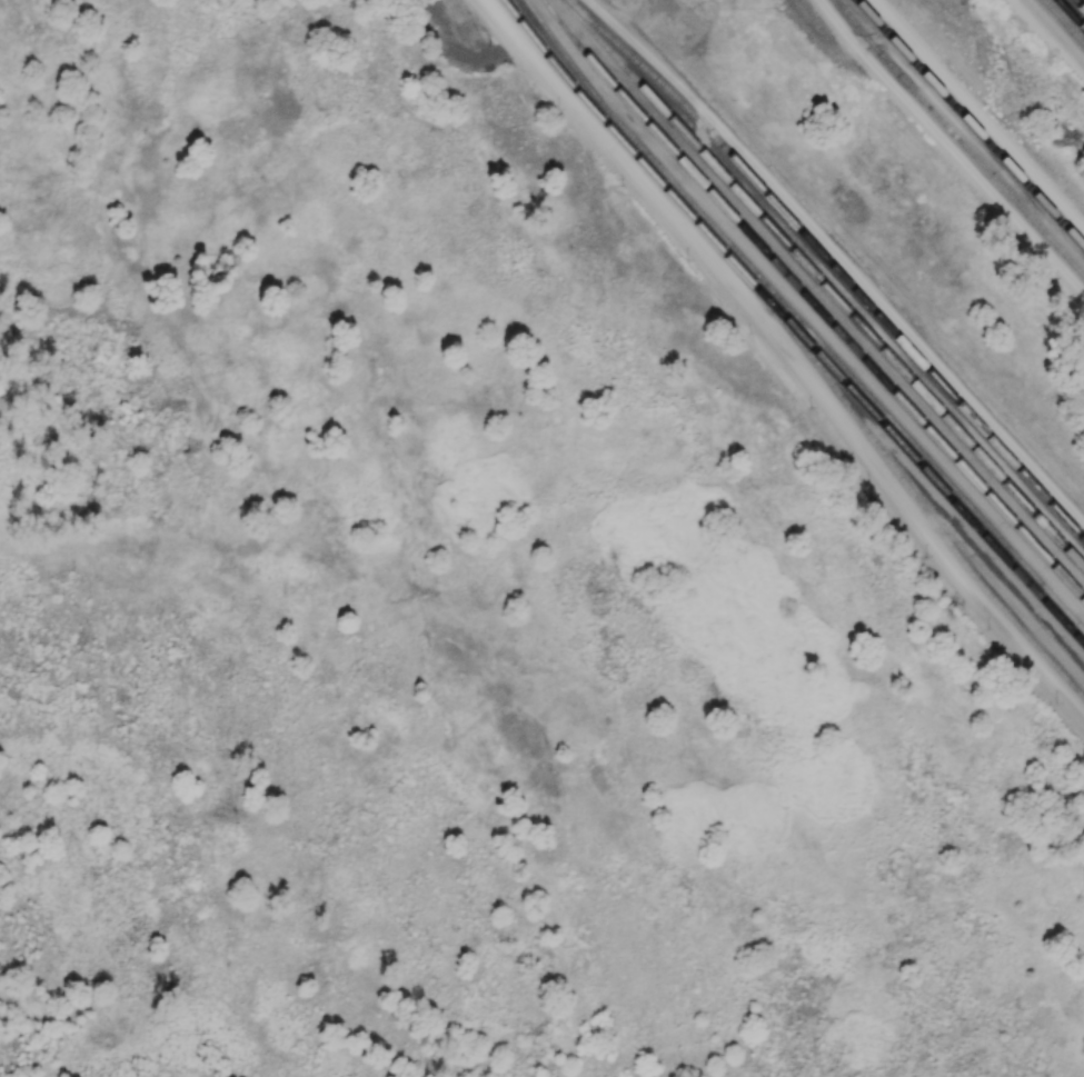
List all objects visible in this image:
railway: (1080, 3)
railway: (1071, 13)
railway: (1064, 21)
road: (1053, 32)
railway: (972, 120)
railway: (961, 137)
railway: (831, 265)
railway: (822, 283)
railway: (812, 300)
railway: (799, 318)
railway: (803, 340)
railway: (934, 479)

